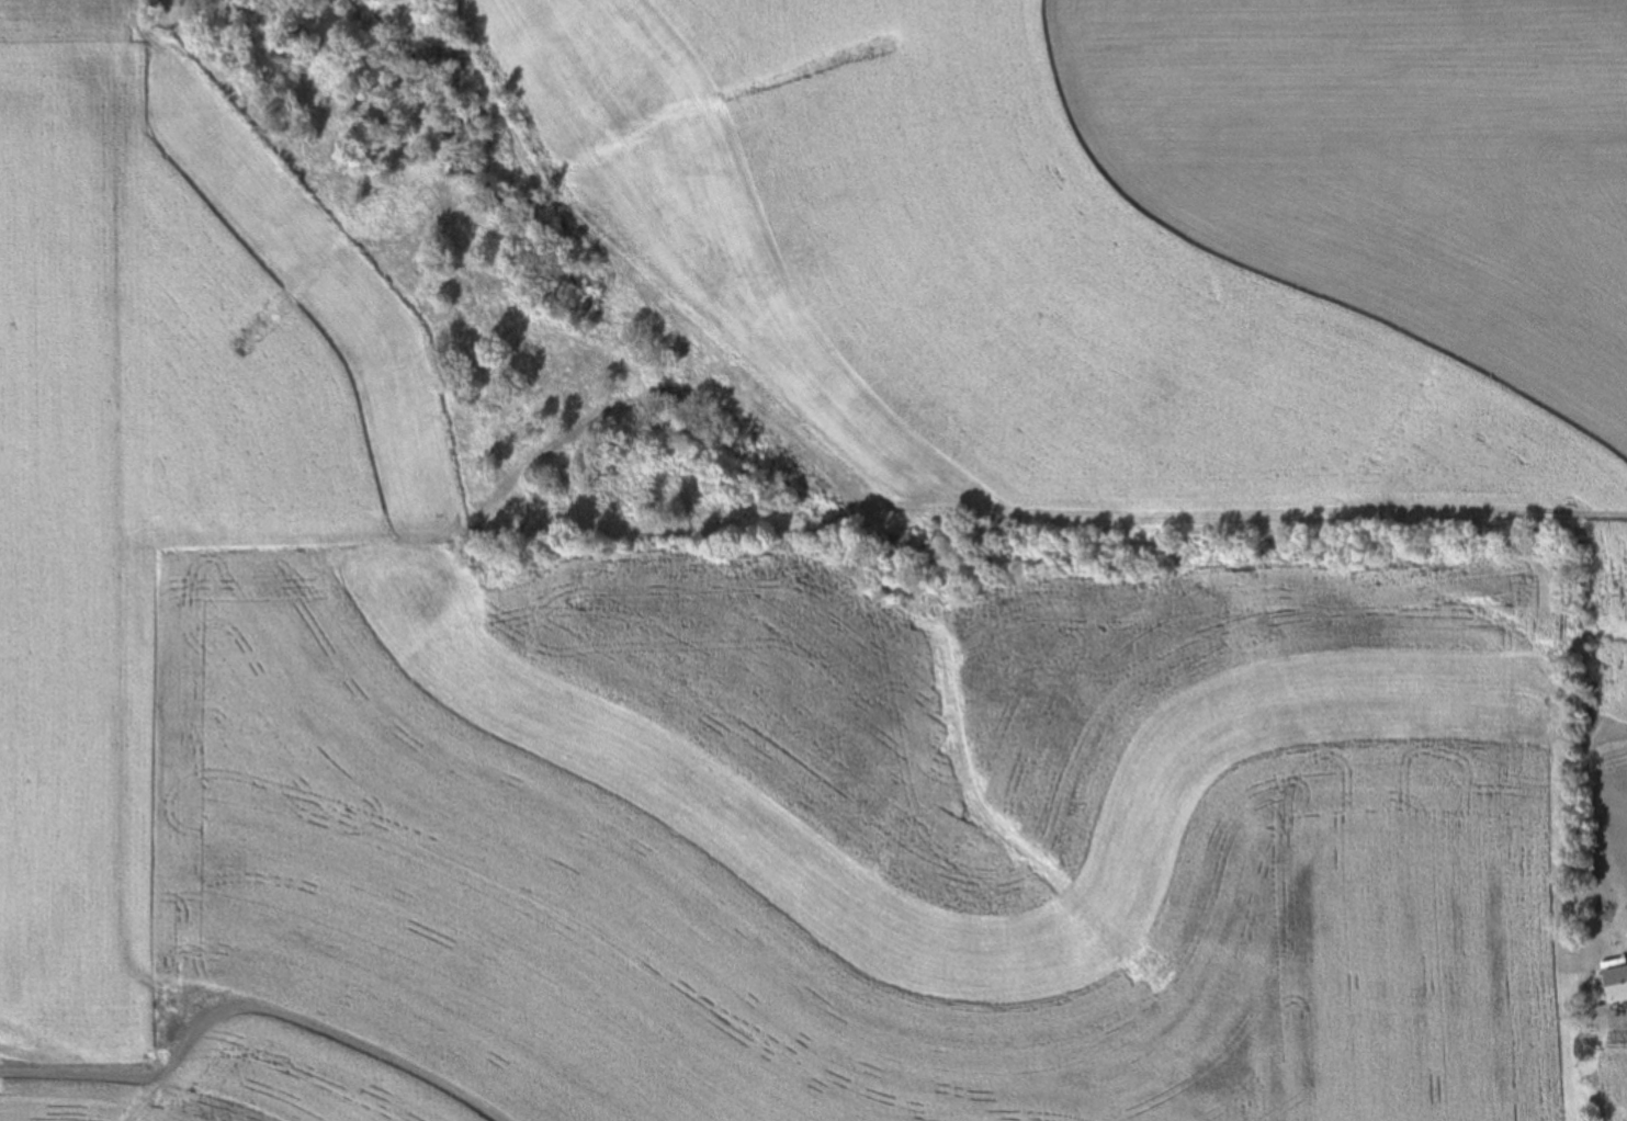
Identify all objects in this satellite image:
building: (1615, 983)

